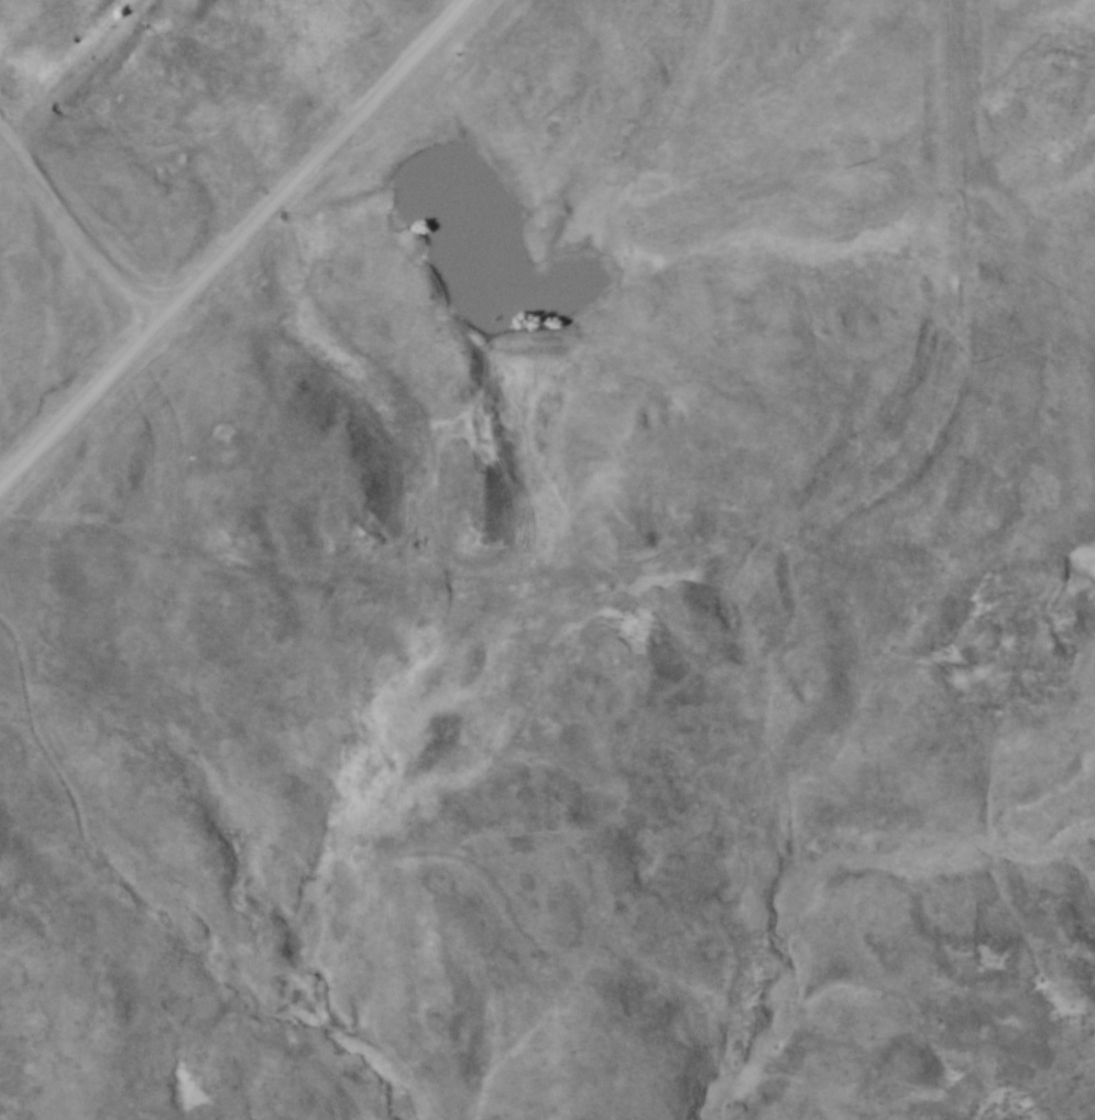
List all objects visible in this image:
railway: (67, 81)
road: (75, 230)
road: (234, 246)

